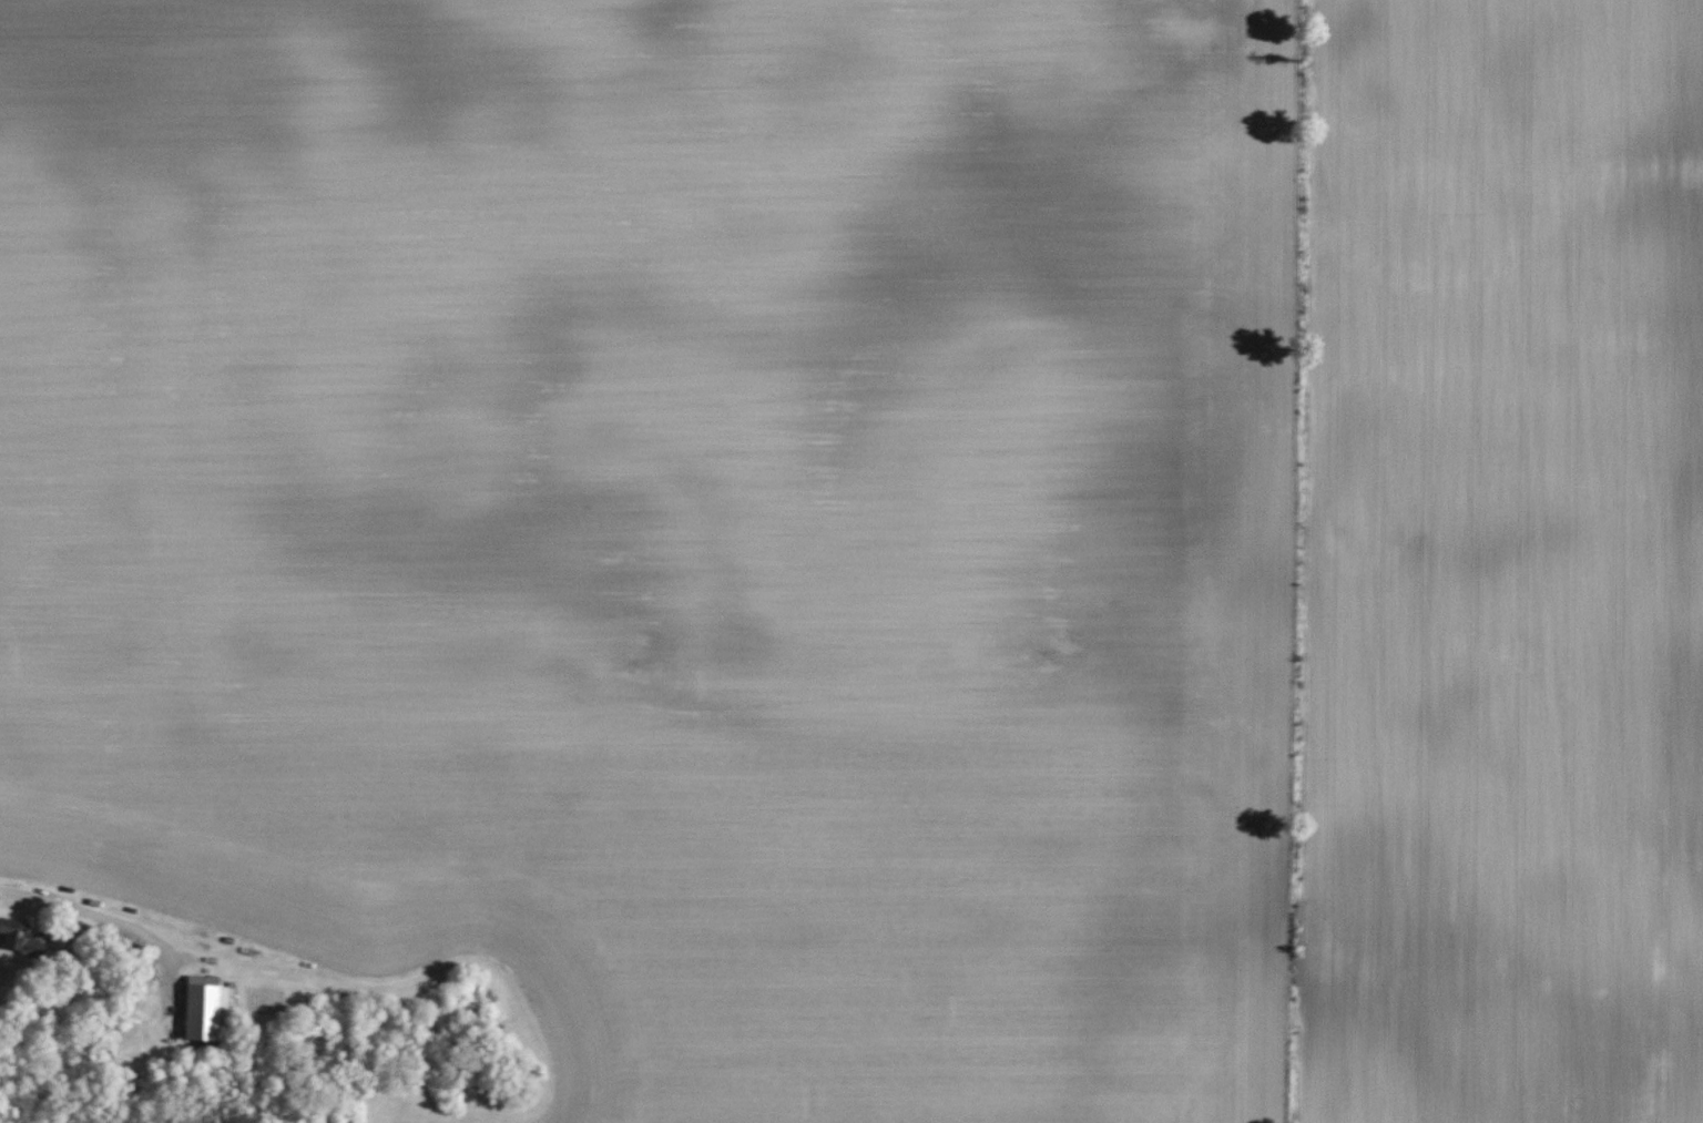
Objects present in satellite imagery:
road: (82, 926)
building: (20, 937)
building: (208, 1007)

